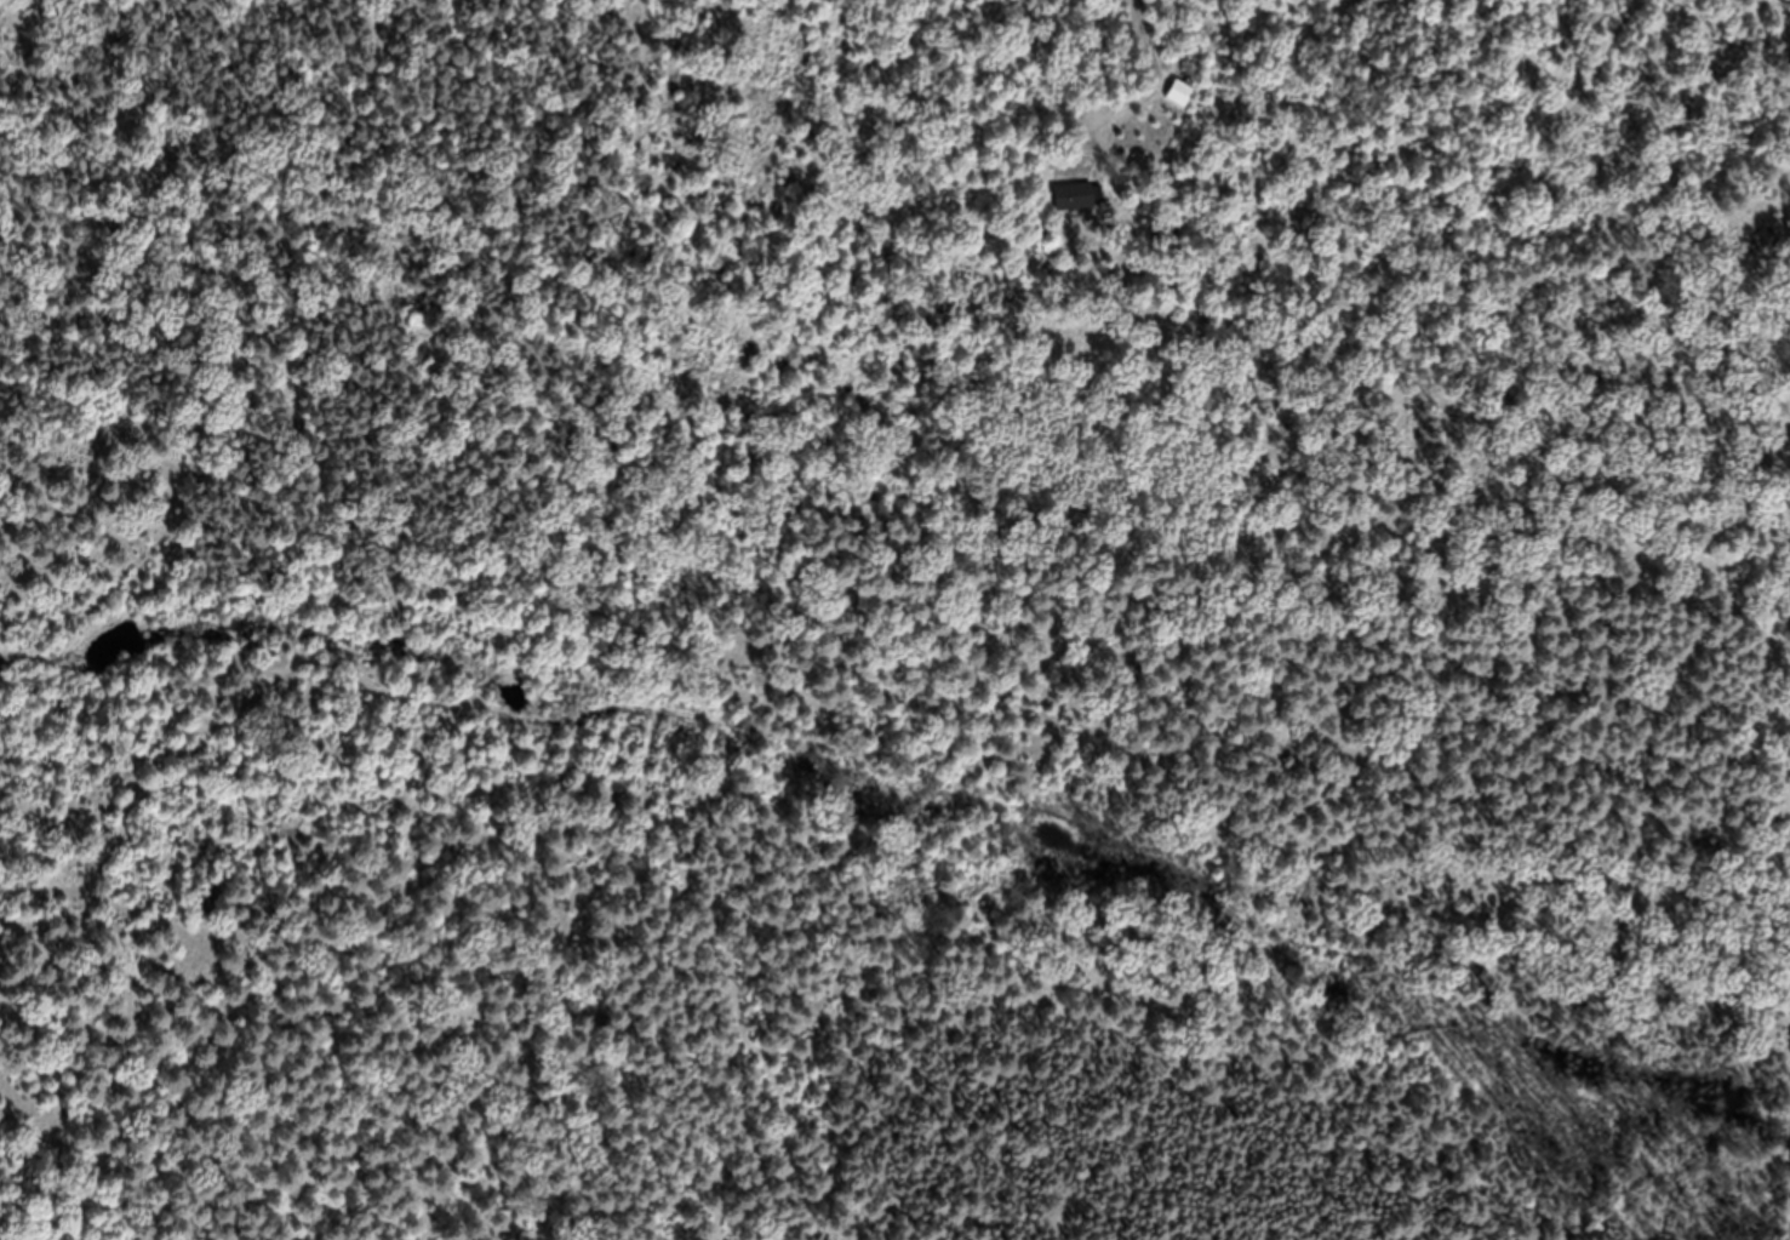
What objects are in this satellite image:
building: (1183, 107)
building: (1076, 210)

